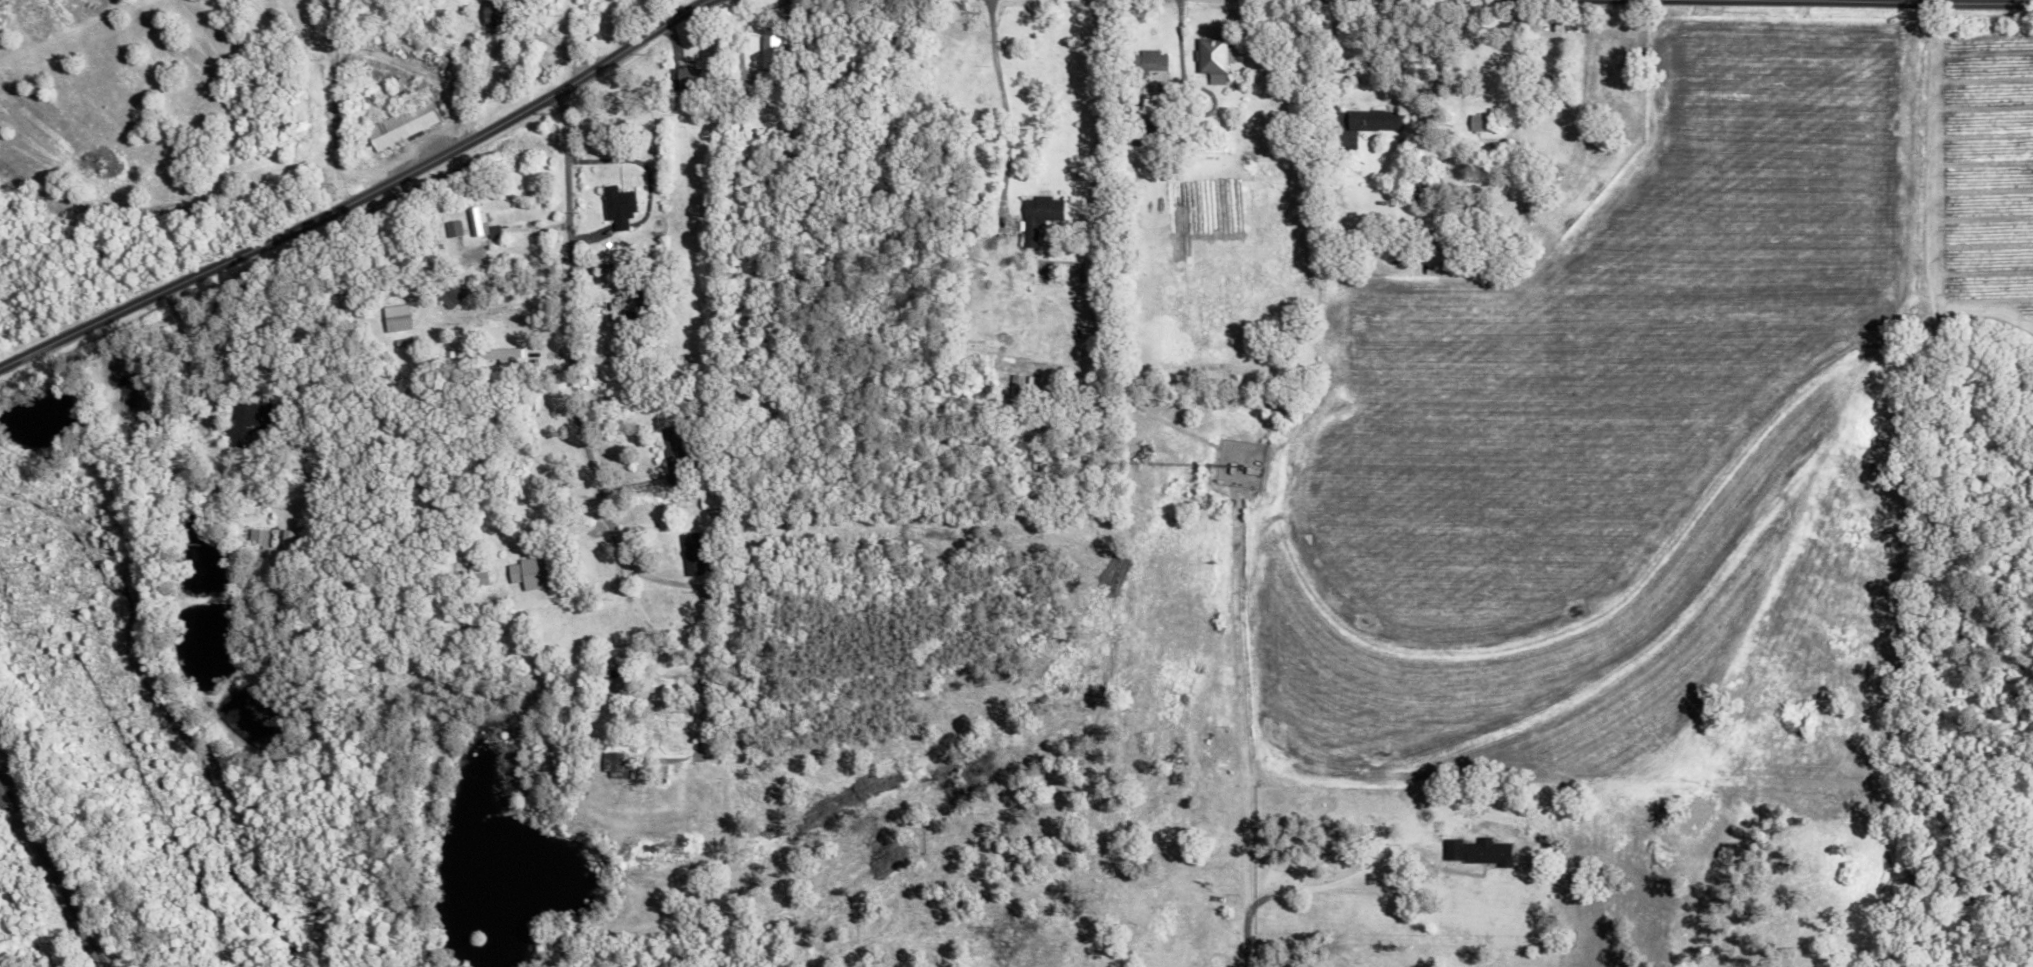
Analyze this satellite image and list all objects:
road: (1916, 6)
road: (1826, 9)
building: (492, 13)
road: (1171, 36)
building: (768, 48)
road: (1325, 57)
building: (1212, 59)
building: (1150, 62)
building: (681, 78)
building: (759, 78)
road: (992, 98)
building: (1372, 120)
building: (1477, 123)
building: (398, 124)
building: (1142, 163)
road: (354, 193)
building: (616, 206)
building: (1036, 216)
building: (474, 220)
building: (452, 293)
building: (395, 318)
building: (501, 356)
road: (577, 413)
building: (246, 420)
building: (672, 455)
road: (121, 517)
building: (256, 539)
building: (286, 539)
building: (691, 554)
building: (530, 573)
road: (500, 581)
park: (252, 644)
building: (662, 725)
road: (391, 737)
railway: (6, 796)
railway: (18, 818)
road: (76, 843)
building: (1478, 851)
road: (1422, 860)
road: (1248, 904)
railway: (72, 911)

